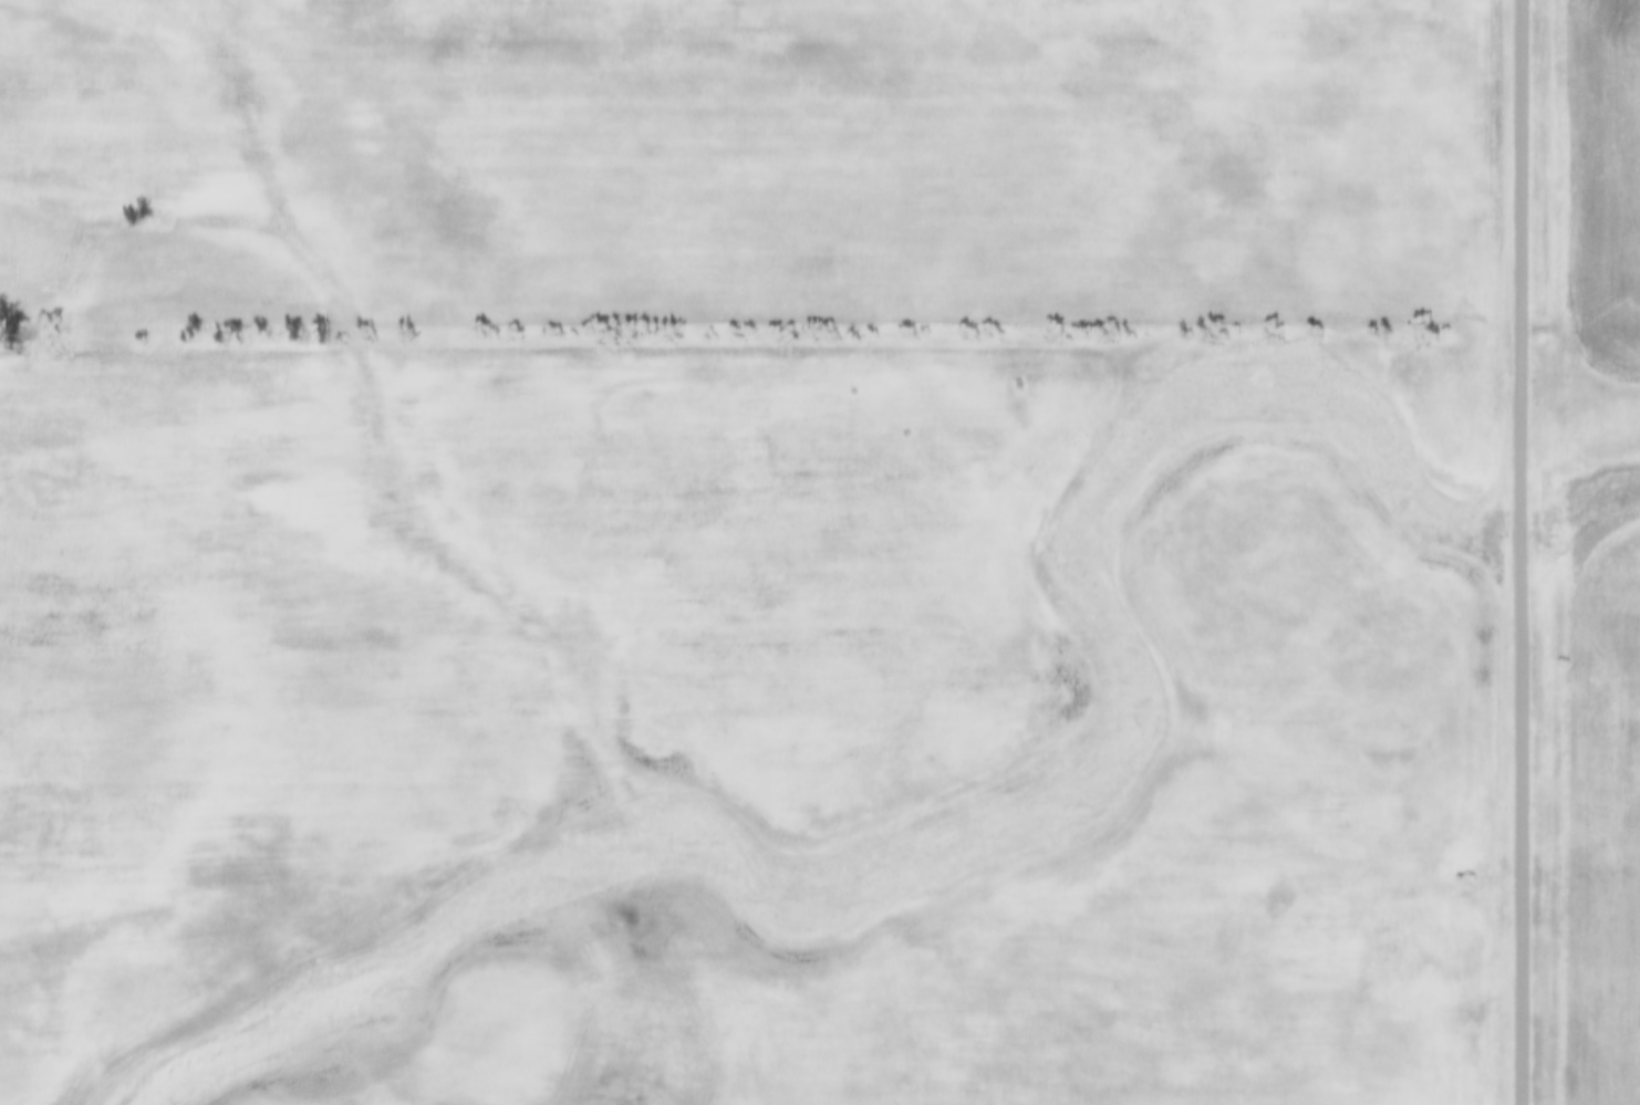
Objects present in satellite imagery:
road: (1524, 552)

